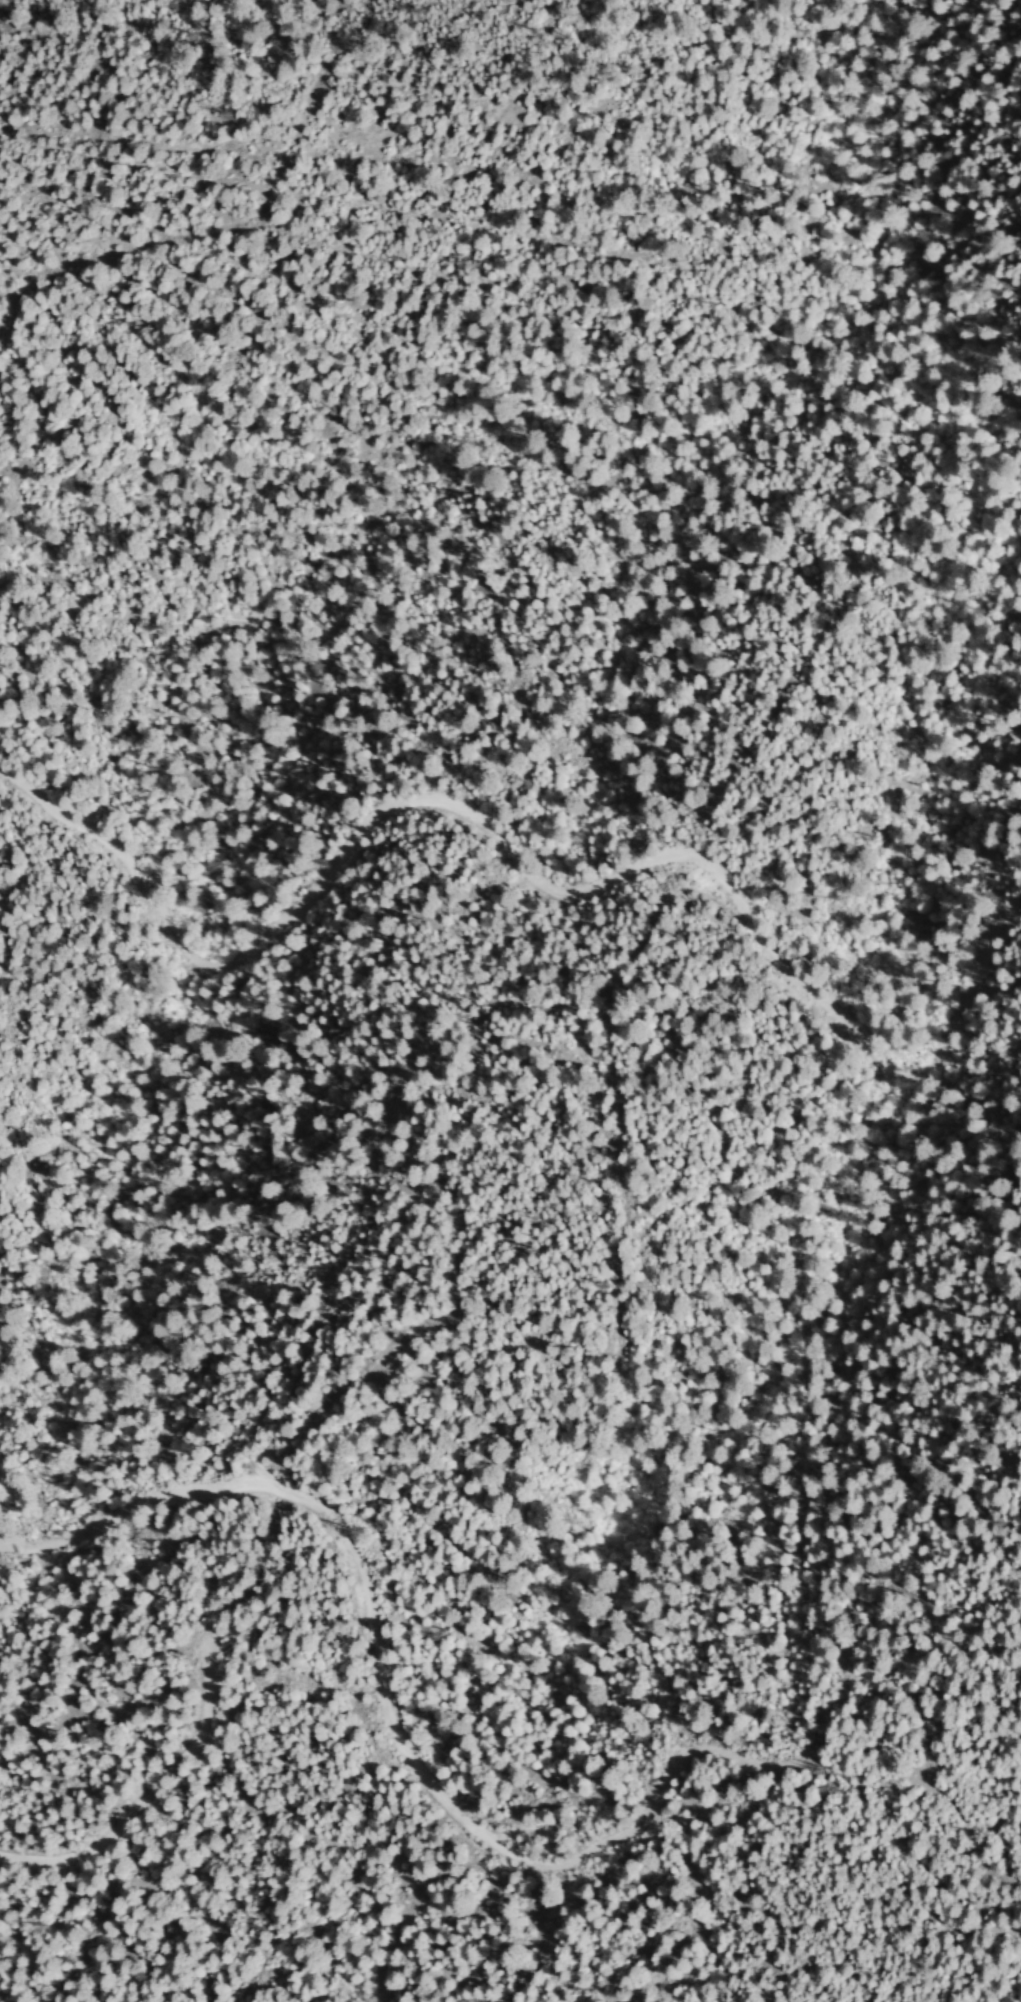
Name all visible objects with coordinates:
road: (518, 908)
road: (575, 1834)

